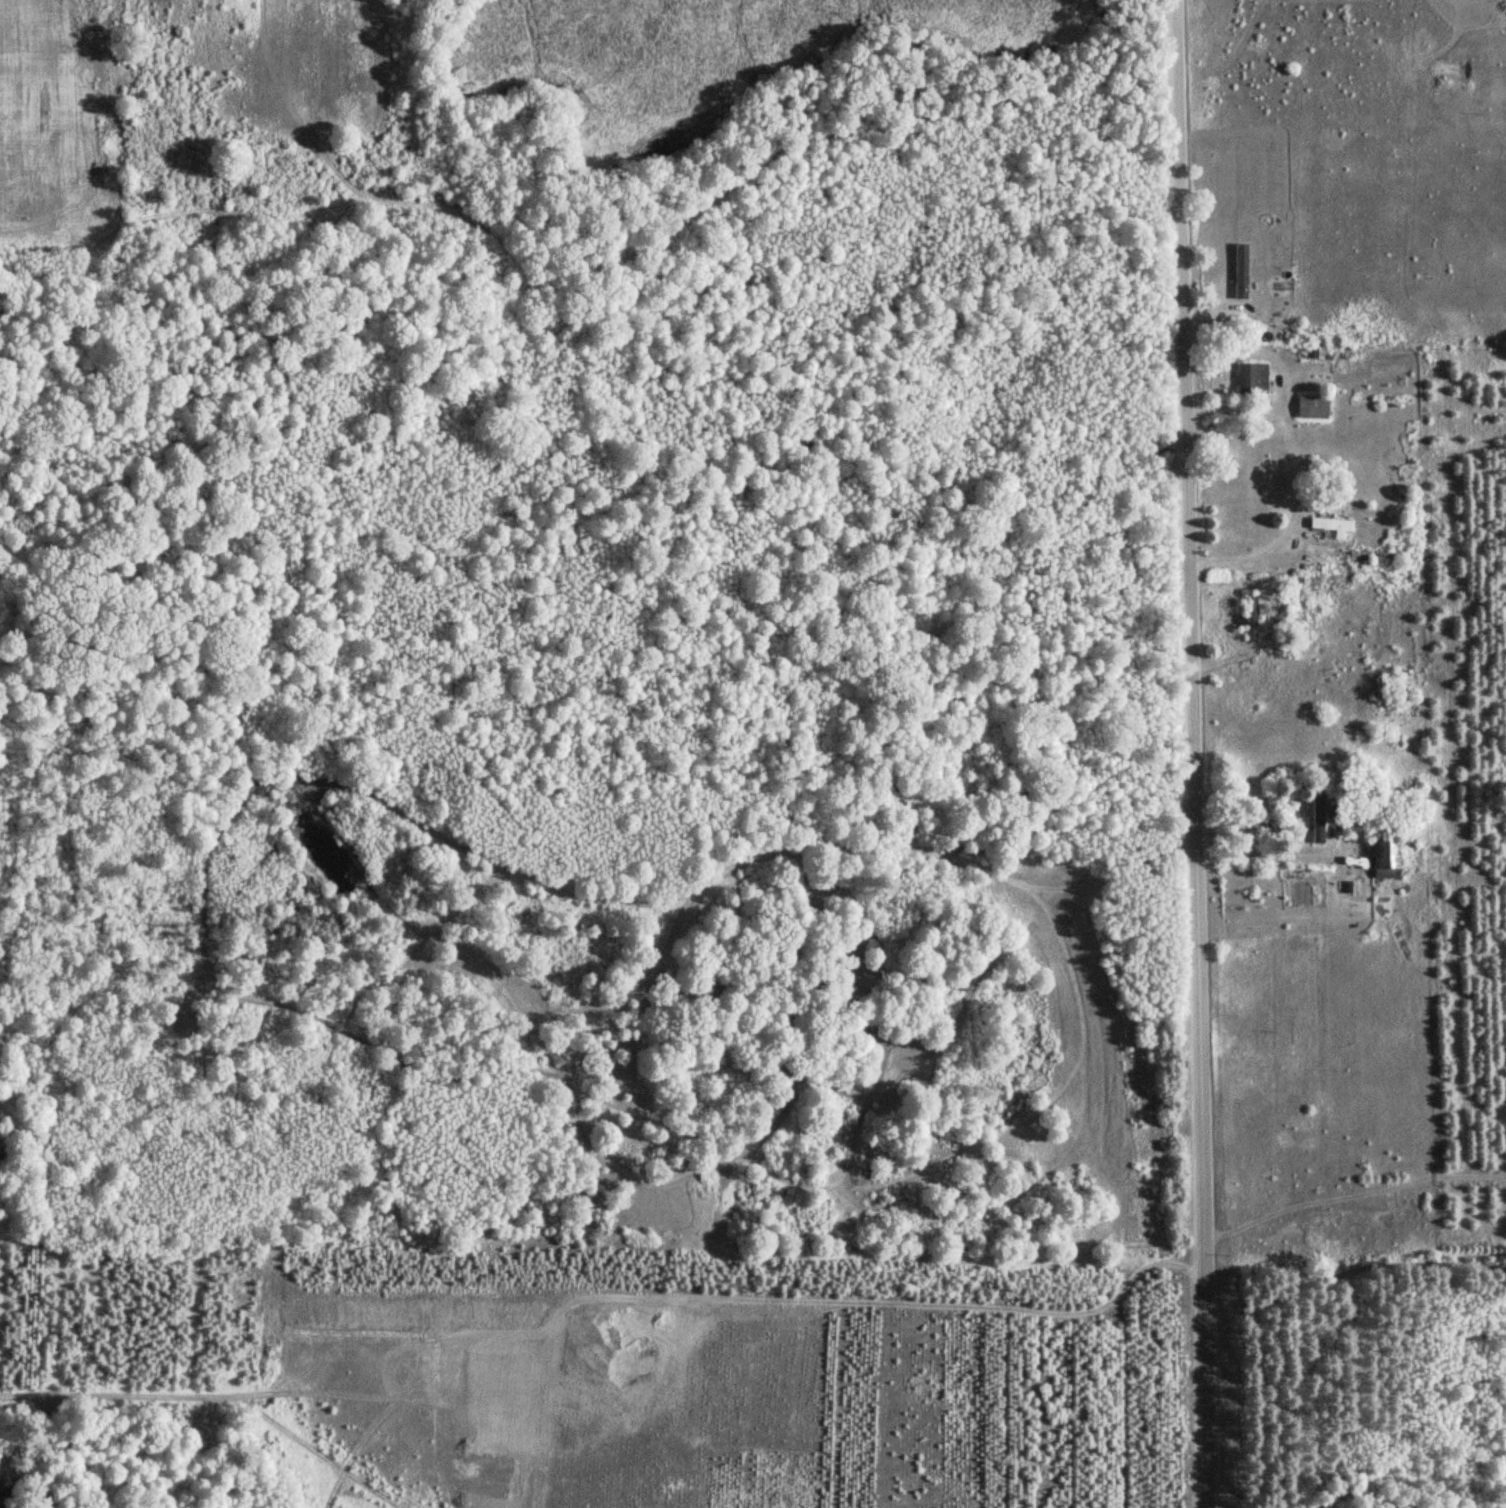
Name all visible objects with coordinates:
building: (1238, 271)
building: (1250, 379)
building: (1310, 407)
building: (1328, 525)
building: (1356, 556)
building: (1249, 617)
road: (1190, 754)
building: (1317, 815)
building: (1383, 857)

